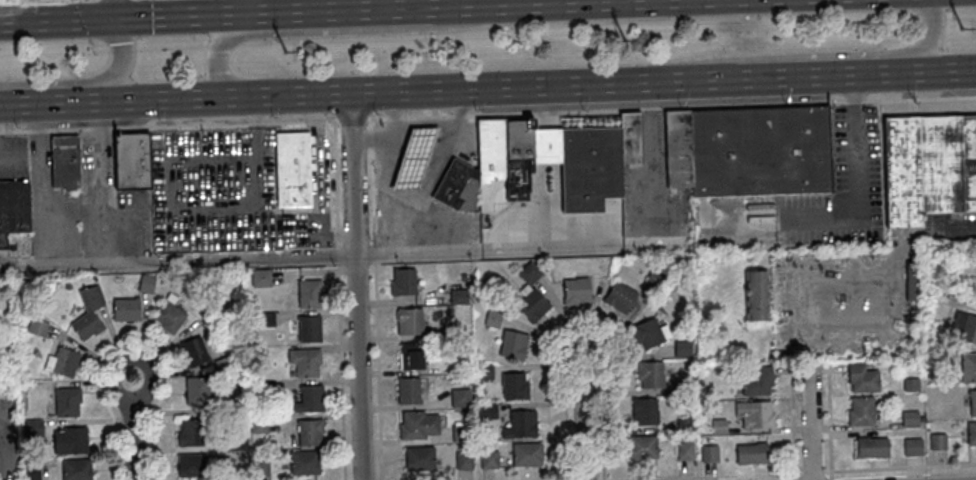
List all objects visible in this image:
road: (541, 1)
road: (569, 1)
road: (400, 4)
road: (467, 5)
road: (258, 6)
road: (119, 8)
road: (13, 10)
road: (351, 10)
road: (280, 12)
road: (189, 15)
traffic signals: (120, 17)
road: (401, 18)
road: (60, 19)
road: (260, 23)
road: (348, 30)
power tower: (962, 32)
power tower: (629, 38)
power tower: (287, 50)
road: (797, 54)
road: (956, 69)
road: (875, 72)
road: (87, 80)
road: (456, 88)
road: (852, 88)
road: (919, 98)
road: (49, 101)
road: (853, 102)
road: (607, 111)
road: (392, 115)
road: (352, 120)
road: (369, 120)
road: (168, 126)
road: (457, 126)
building: (629, 137)
building: (515, 138)
road: (377, 139)
road: (417, 142)
building: (544, 146)
building: (489, 149)
building: (677, 150)
building: (759, 153)
parking lot: (858, 155)
road: (12, 156)
building: (412, 158)
building: (62, 161)
building: (130, 161)
building: (290, 169)
building: (927, 169)
building: (588, 170)
building: (514, 178)
road: (372, 182)
road: (336, 184)
building: (456, 184)
parking lot: (222, 192)
road: (419, 193)
road: (856, 204)
building: (13, 206)
road: (67, 226)
road: (729, 236)
road: (375, 254)
road: (338, 257)
road: (345, 257)
building: (529, 271)
building: (462, 276)
building: (653, 276)
building: (258, 277)
building: (403, 280)
building: (912, 281)
building: (144, 283)
road: (355, 286)
building: (577, 291)
building: (308, 294)
building: (459, 294)
building: (756, 294)
building: (620, 296)
building: (89, 297)
building: (532, 304)
building: (124, 309)
building: (167, 313)
building: (492, 316)
building: (265, 318)
building: (410, 320)
building: (84, 325)
building: (964, 325)
building: (35, 327)
road: (581, 327)
building: (308, 329)
building: (453, 329)
building: (648, 332)
building: (513, 343)
road: (131, 344)
building: (683, 347)
building: (192, 351)
building: (933, 355)
building: (411, 356)
building: (60, 362)
building: (304, 362)
building: (222, 363)
building: (969, 365)
building: (486, 369)
road: (377, 371)
road: (341, 373)
building: (650, 373)
building: (862, 377)
building: (758, 379)
building: (683, 383)
building: (911, 383)
building: (515, 384)
building: (262, 388)
building: (409, 389)
building: (195, 390)
building: (461, 397)
building: (310, 398)
building: (65, 401)
building: (973, 402)
building: (221, 406)
building: (488, 409)
building: (644, 409)
building: (862, 410)
building: (755, 412)
building: (910, 417)
road: (583, 421)
road: (810, 422)
building: (257, 423)
building: (520, 423)
building: (685, 423)
road: (792, 423)
road: (828, 423)
building: (419, 424)
building: (718, 424)
building: (31, 427)
road: (132, 431)
building: (307, 431)
building: (462, 431)
building: (188, 432)
building: (971, 432)
building: (69, 440)
building: (938, 440)
building: (234, 441)
building: (913, 445)
building: (642, 446)
building: (873, 447)
building: (686, 450)
building: (709, 451)
building: (754, 451)
building: (527, 453)
building: (243, 454)
building: (420, 456)
building: (489, 458)
building: (463, 460)
building: (302, 462)
building: (190, 465)
building: (30, 468)
building: (258, 468)
building: (74, 469)
road: (899, 469)
road: (812, 473)
road: (737, 477)

